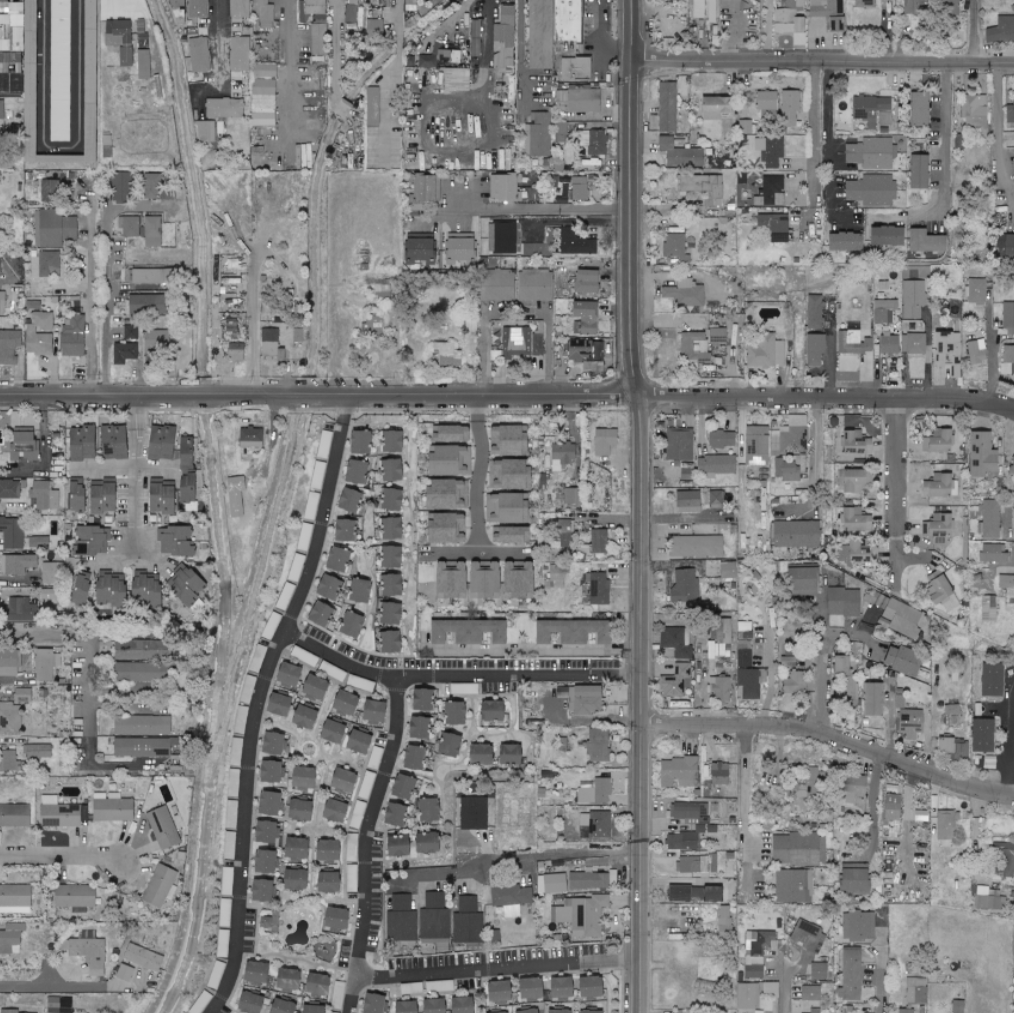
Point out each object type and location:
building: (885, 0)
building: (947, 1)
building: (862, 3)
building: (170, 4)
building: (315, 4)
building: (909, 6)
building: (2, 7)
building: (696, 8)
building: (196, 9)
building: (239, 9)
building: (349, 11)
building: (709, 11)
building: (827, 13)
building: (264, 14)
building: (789, 20)
building: (372, 27)
building: (549, 29)
road: (973, 29)
road: (289, 30)
building: (1000, 31)
building: (141, 34)
building: (504, 37)
building: (317, 39)
building: (119, 40)
road: (599, 40)
road: (221, 42)
road: (334, 47)
road: (485, 51)
building: (439, 53)
building: (239, 54)
building: (197, 55)
road: (521, 58)
road: (822, 59)
building: (425, 61)
building: (142, 64)
building: (572, 68)
building: (59, 70)
building: (23, 71)
building: (265, 71)
building: (448, 79)
road: (390, 81)
building: (721, 81)
building: (83, 88)
building: (581, 100)
building: (763, 100)
building: (262, 103)
road: (428, 103)
building: (371, 105)
building: (665, 107)
building: (787, 107)
building: (223, 108)
building: (711, 108)
building: (1, 109)
building: (866, 109)
building: (915, 109)
building: (972, 111)
building: (1009, 113)
building: (883, 119)
building: (744, 127)
building: (205, 131)
building: (560, 132)
building: (538, 135)
road: (825, 139)
road: (945, 140)
road: (986, 142)
building: (595, 143)
road: (58, 149)
building: (768, 152)
building: (870, 153)
building: (677, 154)
building: (303, 157)
building: (978, 160)
building: (914, 172)
building: (149, 186)
building: (500, 187)
building: (119, 188)
building: (702, 188)
building: (48, 189)
building: (292, 190)
building: (575, 190)
building: (870, 191)
building: (768, 192)
road: (541, 205)
building: (127, 226)
building: (771, 227)
building: (52, 228)
building: (151, 232)
building: (882, 236)
building: (500, 238)
building: (840, 242)
building: (922, 242)
building: (571, 243)
building: (1006, 247)
building: (456, 248)
building: (414, 250)
building: (674, 250)
building: (46, 264)
road: (108, 274)
building: (146, 276)
building: (582, 281)
building: (496, 285)
building: (532, 286)
building: (976, 292)
building: (684, 293)
building: (229, 299)
building: (912, 299)
building: (1, 303)
building: (141, 305)
road: (251, 307)
building: (882, 311)
building: (812, 312)
road: (516, 314)
building: (580, 317)
building: (1007, 319)
building: (370, 325)
building: (469, 326)
building: (30, 332)
building: (129, 333)
building: (715, 336)
building: (71, 337)
building: (537, 339)
building: (155, 341)
building: (516, 341)
building: (854, 343)
building: (270, 344)
building: (887, 344)
building: (912, 344)
building: (9, 346)
building: (692, 347)
building: (813, 350)
building: (581, 351)
building: (234, 352)
building: (944, 352)
building: (974, 352)
building: (122, 353)
building: (763, 353)
building: (443, 355)
building: (1008, 357)
building: (1004, 369)
road: (507, 397)
road: (358, 411)
building: (446, 434)
building: (790, 437)
building: (249, 438)
building: (720, 440)
building: (504, 441)
building: (601, 441)
building: (111, 442)
building: (389, 442)
building: (935, 442)
building: (157, 443)
building: (356, 443)
building: (851, 443)
building: (20, 444)
building: (79, 444)
building: (678, 444)
building: (756, 446)
building: (181, 451)
road: (815, 451)
building: (559, 456)
building: (979, 456)
road: (898, 460)
building: (444, 462)
building: (715, 464)
road: (109, 466)
building: (1010, 466)
building: (685, 468)
building: (388, 470)
road: (141, 471)
building: (787, 472)
building: (352, 473)
road: (480, 474)
building: (505, 474)
building: (850, 481)
building: (935, 487)
building: (9, 489)
building: (166, 494)
building: (441, 495)
building: (91, 496)
building: (569, 496)
building: (42, 498)
building: (714, 498)
building: (387, 500)
building: (347, 501)
building: (685, 502)
road: (640, 505)
building: (502, 508)
building: (989, 519)
building: (851, 520)
building: (444, 528)
building: (388, 529)
building: (935, 529)
building: (340, 530)
building: (564, 532)
building: (12, 534)
building: (795, 534)
building: (506, 535)
building: (90, 541)
building: (596, 541)
building: (37, 542)
building: (173, 542)
building: (694, 546)
road: (895, 550)
building: (850, 552)
road: (481, 553)
building: (989, 554)
building: (388, 557)
building: (334, 559)
building: (16, 564)
building: (725, 570)
building: (51, 573)
building: (554, 575)
building: (446, 580)
building: (479, 580)
building: (512, 580)
building: (799, 580)
building: (387, 585)
building: (182, 587)
building: (324, 587)
building: (683, 587)
building: (935, 587)
building: (76, 588)
building: (142, 589)
building: (597, 589)
building: (107, 590)
building: (356, 591)
building: (841, 602)
building: (949, 604)
building: (987, 609)
building: (18, 610)
building: (316, 614)
building: (388, 614)
building: (895, 616)
building: (347, 625)
building: (742, 631)
building: (464, 632)
building: (569, 632)
building: (719, 636)
building: (386, 642)
building: (675, 642)
building: (135, 650)
building: (742, 653)
road: (822, 660)
building: (896, 660)
building: (788, 661)
building: (9, 662)
building: (44, 668)
building: (913, 669)
building: (137, 672)
building: (287, 675)
road: (614, 675)
road: (432, 676)
building: (990, 680)
building: (676, 681)
building: (748, 683)
building: (795, 683)
road: (89, 687)
building: (312, 688)
building: (718, 688)
building: (20, 695)
building: (419, 700)
building: (583, 700)
building: (869, 700)
building: (880, 703)
building: (276, 705)
building: (358, 708)
building: (485, 711)
road: (257, 712)
building: (450, 714)
building: (950, 716)
building: (906, 717)
building: (8, 718)
building: (301, 718)
building: (239, 720)
building: (139, 725)
building: (416, 728)
building: (339, 736)
building: (981, 736)
road: (830, 737)
road: (1007, 742)
building: (273, 744)
building: (446, 746)
building: (595, 746)
building: (139, 748)
building: (953, 749)
building: (36, 752)
building: (235, 752)
building: (492, 755)
building: (374, 758)
building: (412, 758)
building: (8, 761)
building: (267, 772)
building: (677, 773)
building: (716, 774)
building: (301, 778)
building: (340, 781)
building: (232, 783)
building: (802, 785)
building: (401, 787)
building: (849, 788)
building: (265, 804)
road: (872, 804)
road: (745, 805)
building: (109, 808)
building: (889, 808)
building: (297, 811)
building: (332, 811)
building: (425, 811)
building: (56, 813)
building: (231, 814)
building: (471, 814)
building: (14, 815)
building: (395, 815)
building: (594, 825)
building: (943, 825)
building: (161, 828)
building: (704, 829)
building: (263, 832)
road: (366, 843)
building: (422, 844)
building: (228, 845)
building: (396, 847)
building: (351, 848)
building: (293, 849)
building: (797, 849)
building: (323, 851)
road: (516, 855)
road: (62, 858)
building: (1003, 859)
building: (262, 862)
building: (691, 865)
building: (350, 878)
building: (852, 878)
building: (292, 880)
building: (227, 881)
building: (594, 881)
building: (323, 883)
building: (550, 884)
building: (794, 886)
building: (158, 887)
building: (258, 891)
building: (691, 894)
building: (72, 897)
building: (14, 899)
building: (508, 899)
building: (987, 899)
building: (581, 915)
building: (331, 920)
building: (400, 920)
building: (722, 920)
building: (466, 922)
building: (269, 923)
building: (857, 926)
building: (433, 929)
building: (493, 937)
building: (807, 937)
building: (10, 938)
building: (86, 952)
building: (754, 952)
building: (140, 958)
road: (608, 962)
building: (1012, 969)
road: (467, 970)
road: (878, 970)
building: (816, 971)
building: (123, 973)
building: (252, 973)
building: (847, 975)
road: (47, 976)
road: (786, 981)
building: (298, 983)
road: (53, 987)
building: (572, 988)
building: (768, 989)
building: (527, 990)
building: (915, 991)
building: (493, 992)
building: (809, 993)
building: (336, 996)
building: (745, 997)
building: (369, 1004)
building: (259, 1005)
building: (429, 1006)
building: (955, 1007)
building: (798, 1008)
building: (8, 1011)
building: (903, 1011)
building: (327, 1012)
building: (526, 1012)
building: (564, 1012)

